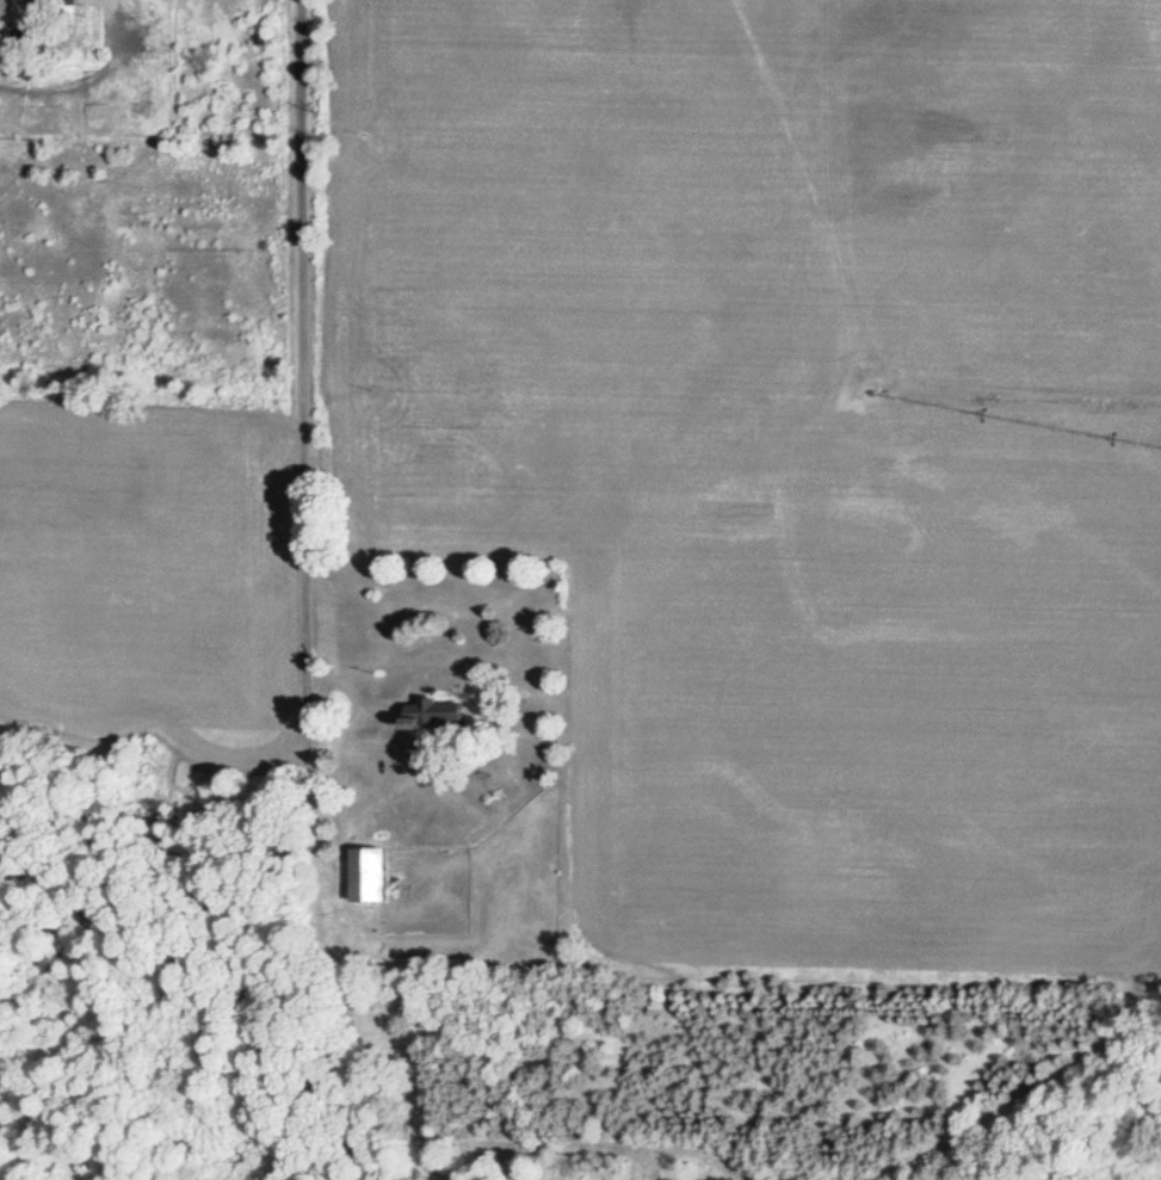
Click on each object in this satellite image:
building: (68, 1)
road: (303, 330)
building: (434, 715)
building: (370, 875)

